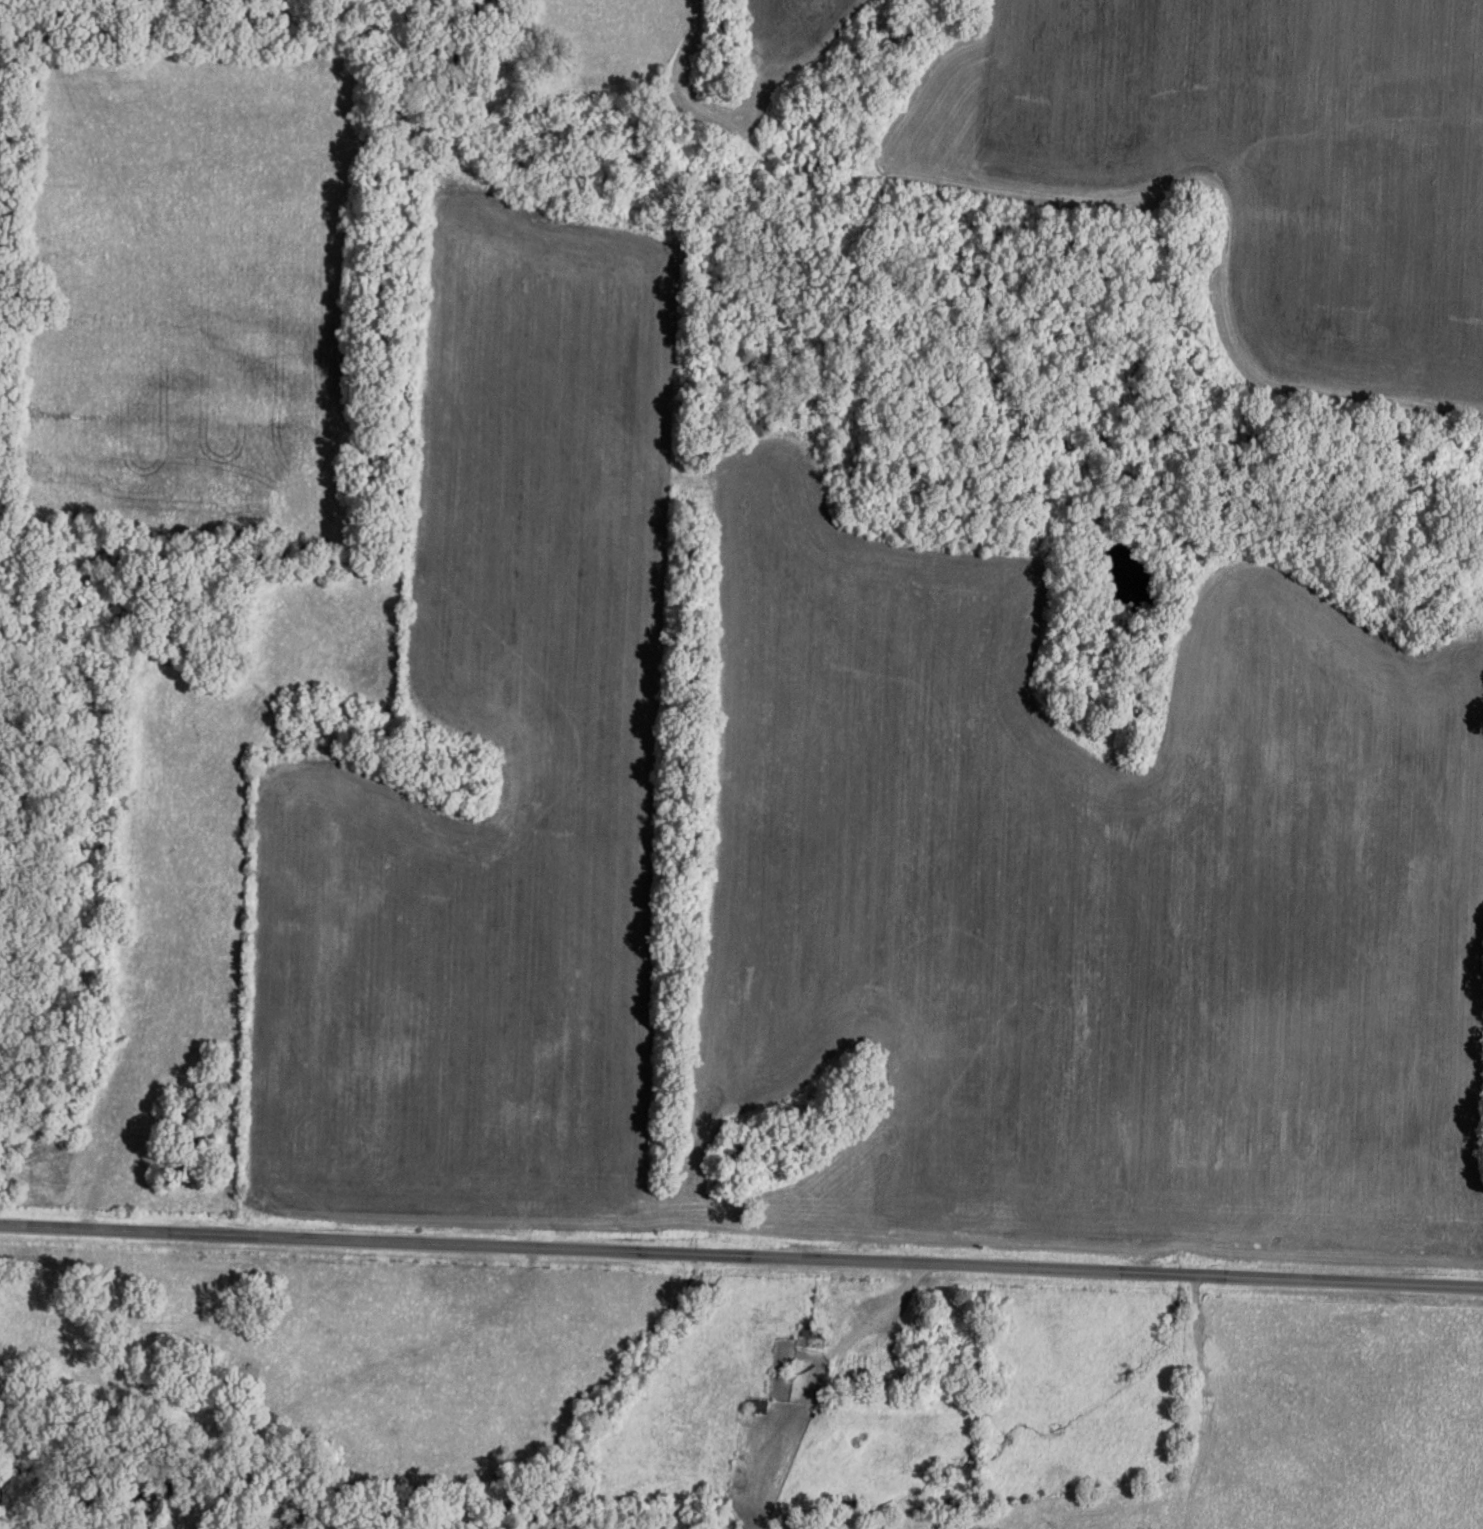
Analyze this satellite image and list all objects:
road: (741, 1256)
road: (861, 1330)
road: (1217, 1400)

